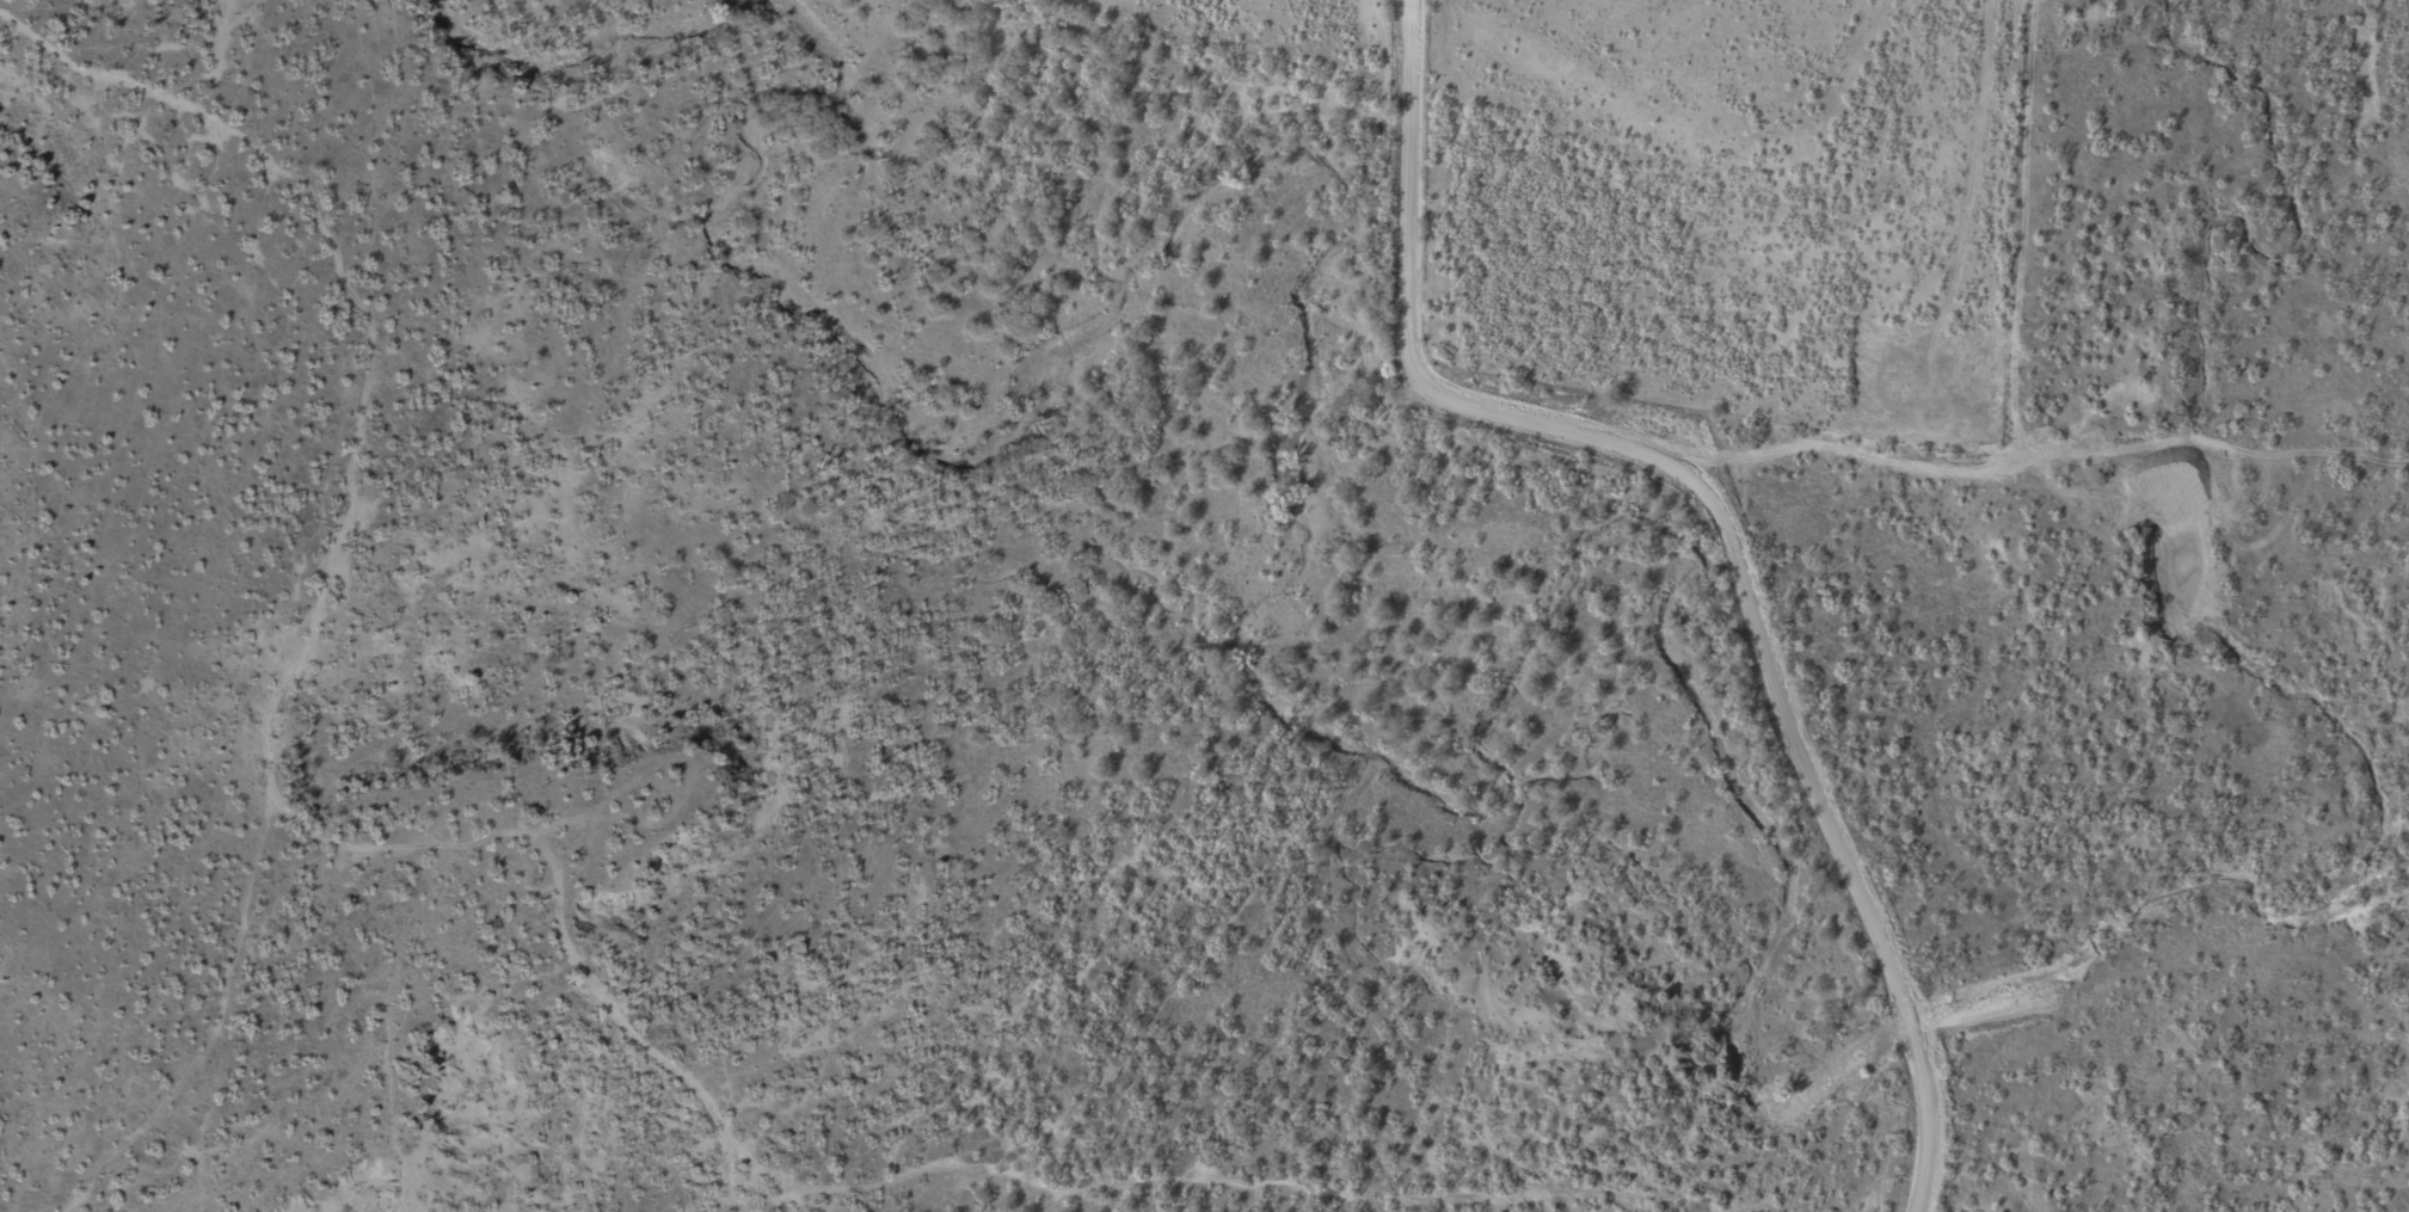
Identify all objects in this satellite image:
road: (1728, 523)

